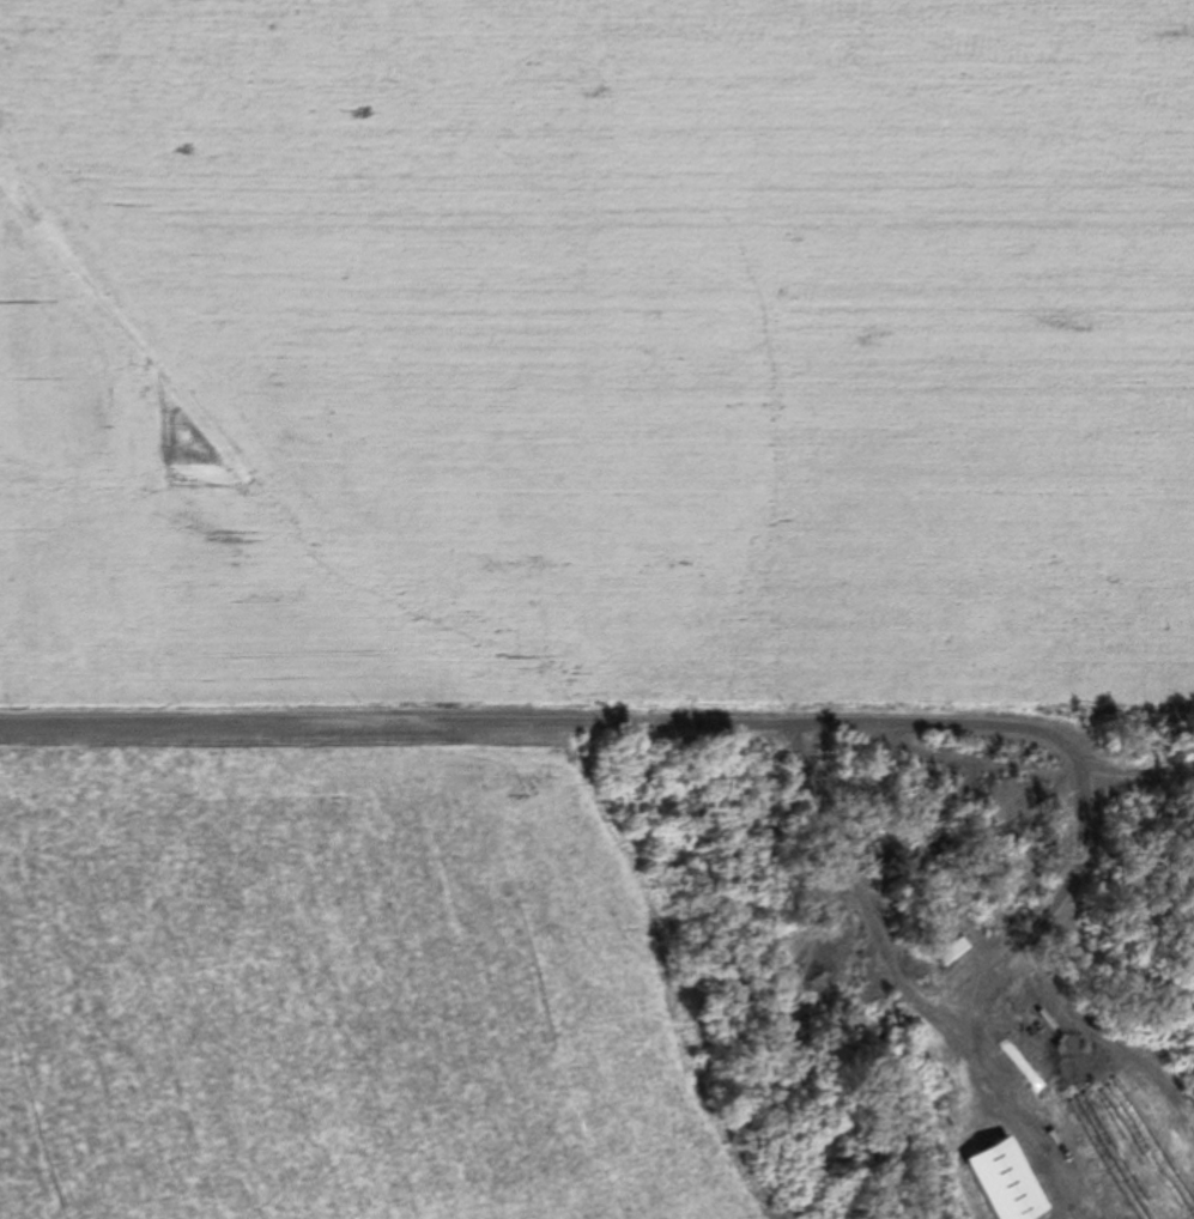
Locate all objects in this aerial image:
road: (358, 726)
road: (962, 729)
building: (953, 952)
road: (928, 1001)
building: (1006, 1179)

